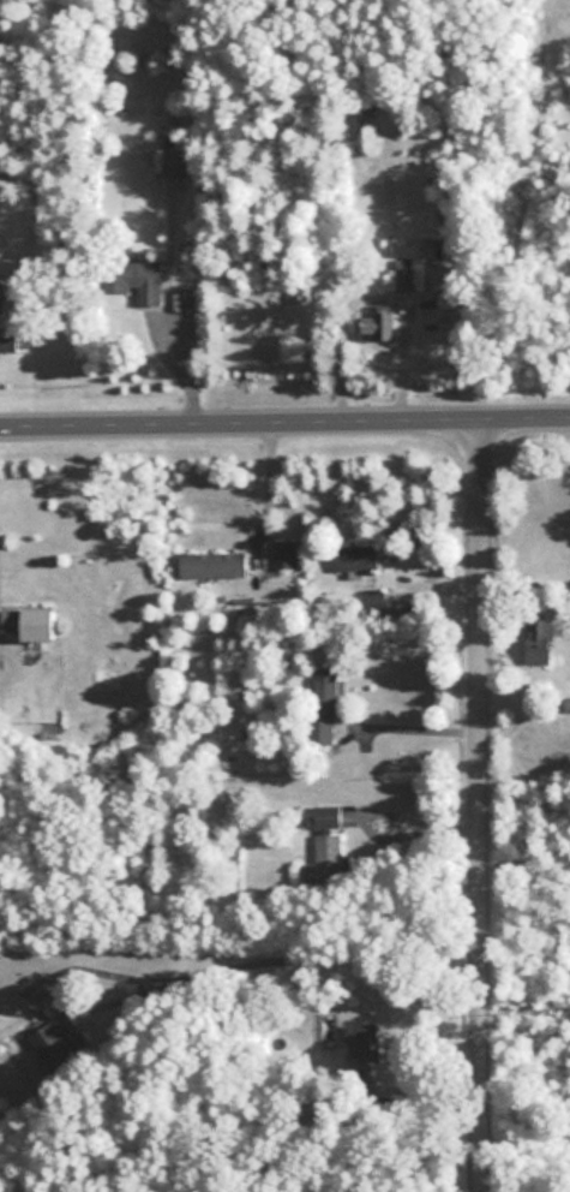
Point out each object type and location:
building: (179, 161)
building: (409, 275)
building: (134, 280)
building: (377, 326)
building: (7, 345)
road: (397, 358)
road: (180, 374)
road: (284, 424)
road: (263, 491)
building: (283, 554)
building: (356, 558)
building: (212, 565)
building: (373, 600)
building: (539, 640)
building: (566, 704)
building: (324, 707)
road: (416, 729)
road: (482, 807)
road: (384, 813)
building: (328, 846)
road: (289, 961)
park: (527, 983)
building: (65, 1048)
building: (361, 1048)

